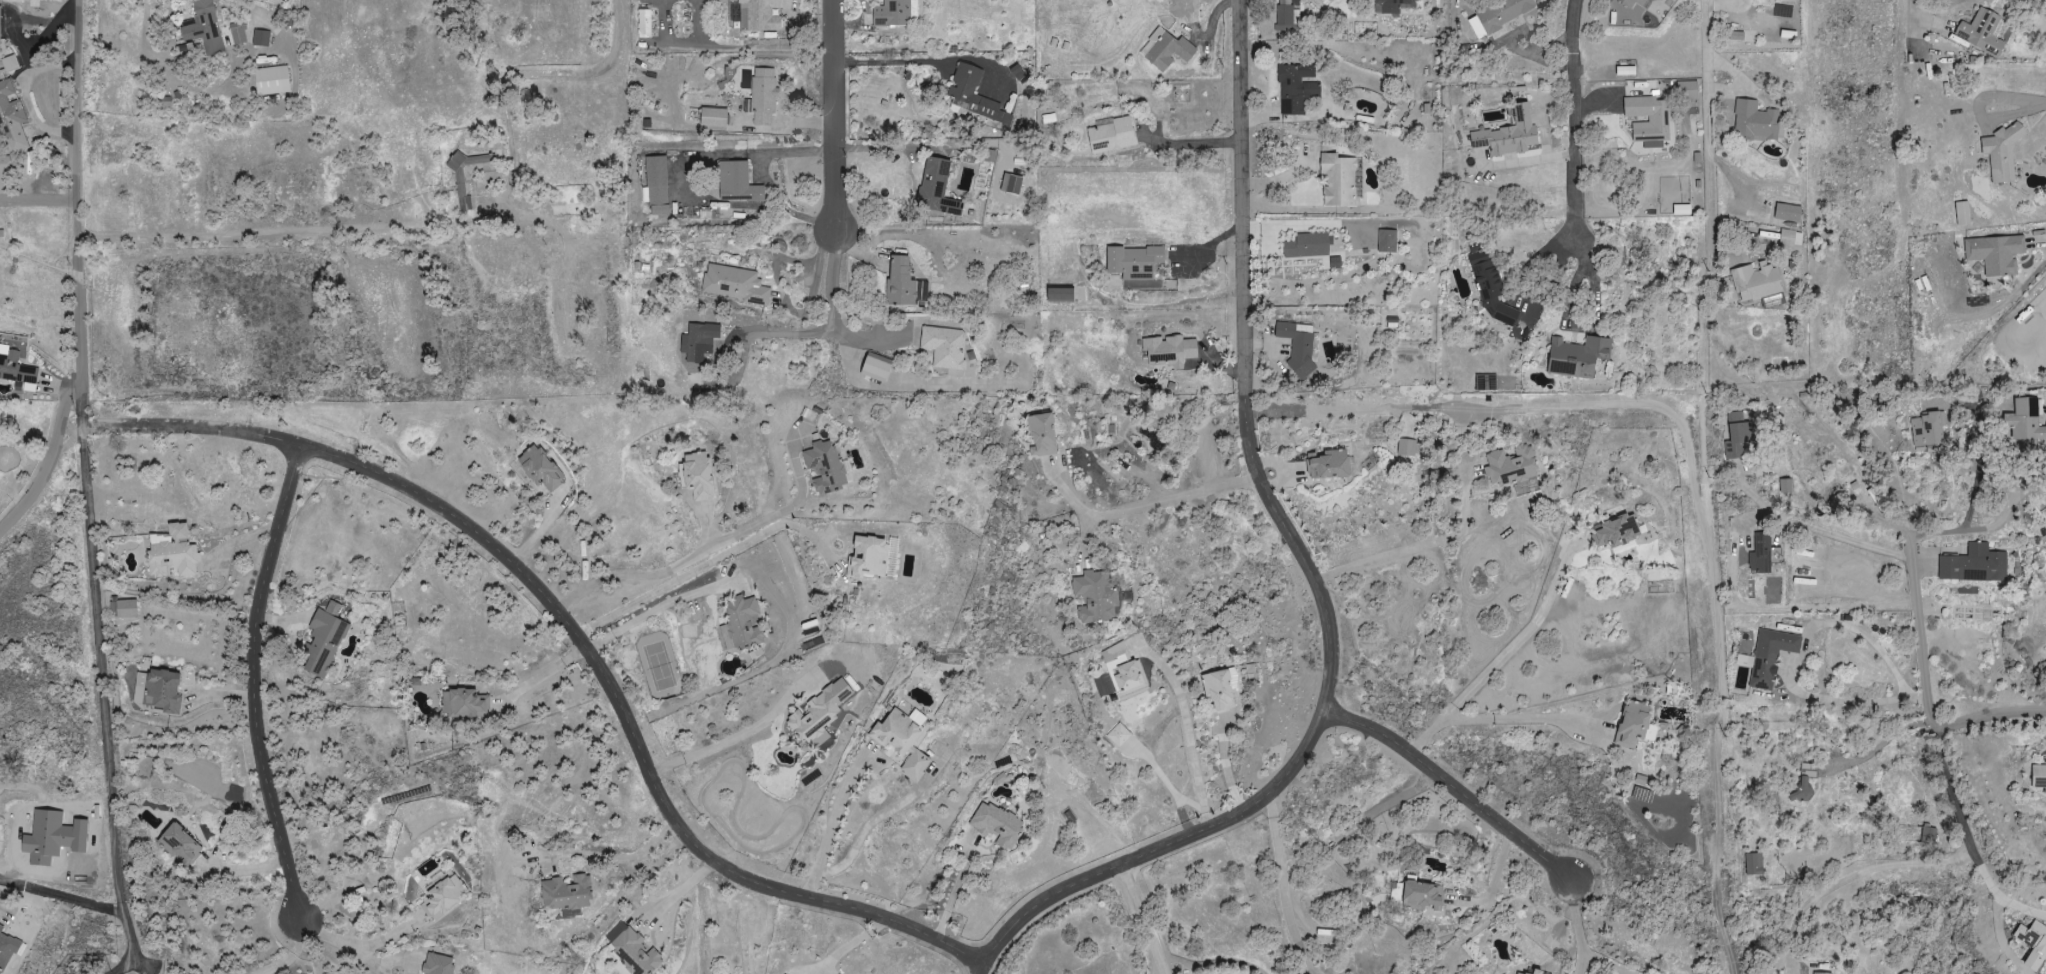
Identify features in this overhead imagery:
building: (1633, 1)
building: (1392, 5)
building: (897, 12)
building: (762, 14)
building: (1497, 15)
building: (1286, 18)
building: (647, 23)
building: (1, 26)
building: (207, 27)
building: (241, 32)
building: (1981, 32)
building: (1786, 34)
road: (1921, 35)
building: (263, 37)
building: (1169, 49)
road: (922, 61)
building: (1624, 71)
building: (275, 80)
road: (511, 81)
building: (1298, 87)
building: (1687, 90)
building: (766, 95)
road: (26, 96)
road: (1977, 108)
building: (718, 116)
building: (13, 118)
road: (837, 119)
building: (1648, 120)
building: (1507, 134)
building: (1116, 135)
road: (1686, 136)
road: (1192, 144)
road: (887, 146)
building: (2000, 153)
building: (7, 163)
road: (770, 178)
building: (1341, 179)
road: (680, 180)
road: (1566, 181)
building: (740, 182)
building: (659, 185)
building: (940, 186)
road: (39, 207)
building: (1680, 209)
building: (1787, 213)
building: (1961, 213)
building: (1790, 238)
building: (1389, 240)
road: (326, 241)
building: (1311, 245)
road: (1210, 246)
road: (1334, 251)
building: (1994, 254)
building: (1138, 260)
building: (1921, 279)
road: (79, 282)
building: (904, 282)
building: (737, 283)
building: (1755, 283)
building: (1493, 285)
building: (1066, 294)
road: (810, 334)
building: (702, 340)
building: (946, 346)
building: (1300, 346)
building: (1173, 349)
building: (1578, 355)
building: (17, 362)
building: (881, 369)
building: (1488, 381)
road: (1665, 411)
building: (1926, 428)
building: (1047, 435)
building: (1738, 435)
building: (1408, 447)
road: (1983, 449)
building: (828, 464)
building: (1332, 464)
building: (1512, 466)
building: (543, 467)
building: (702, 476)
road: (1177, 497)
road: (1962, 531)
building: (1616, 532)
road: (1849, 540)
road: (1419, 546)
road: (710, 550)
building: (175, 552)
building: (1760, 553)
building: (872, 557)
road: (718, 559)
building: (1974, 564)
road: (1315, 569)
building: (1098, 597)
road: (666, 603)
building: (125, 608)
building: (744, 625)
road: (1526, 635)
building: (326, 639)
road: (585, 639)
road: (1922, 641)
road: (101, 650)
building: (1114, 653)
building: (1771, 655)
road: (1802, 656)
building: (1745, 660)
building: (1134, 676)
road: (254, 682)
building: (161, 689)
building: (1223, 690)
building: (468, 703)
building: (823, 712)
building: (921, 717)
road: (1991, 718)
building: (1632, 725)
road: (1436, 731)
building: (1122, 735)
road: (738, 738)
road: (1190, 741)
building: (907, 743)
building: (2038, 776)
building: (1804, 782)
road: (1456, 791)
building: (1000, 824)
road: (830, 830)
road: (1969, 837)
building: (183, 845)
road: (614, 858)
building: (1753, 863)
road: (1854, 877)
road: (1495, 883)
road: (1281, 889)
building: (569, 892)
road: (677, 893)
building: (446, 894)
building: (1420, 895)
road: (86, 902)
road: (1143, 922)
road: (1579, 929)
road: (360, 943)
building: (2031, 943)
building: (8, 947)
building: (633, 951)
road: (290, 954)
building: (442, 964)
building: (1533, 971)
building: (1517, 973)
building: (1821, 973)

